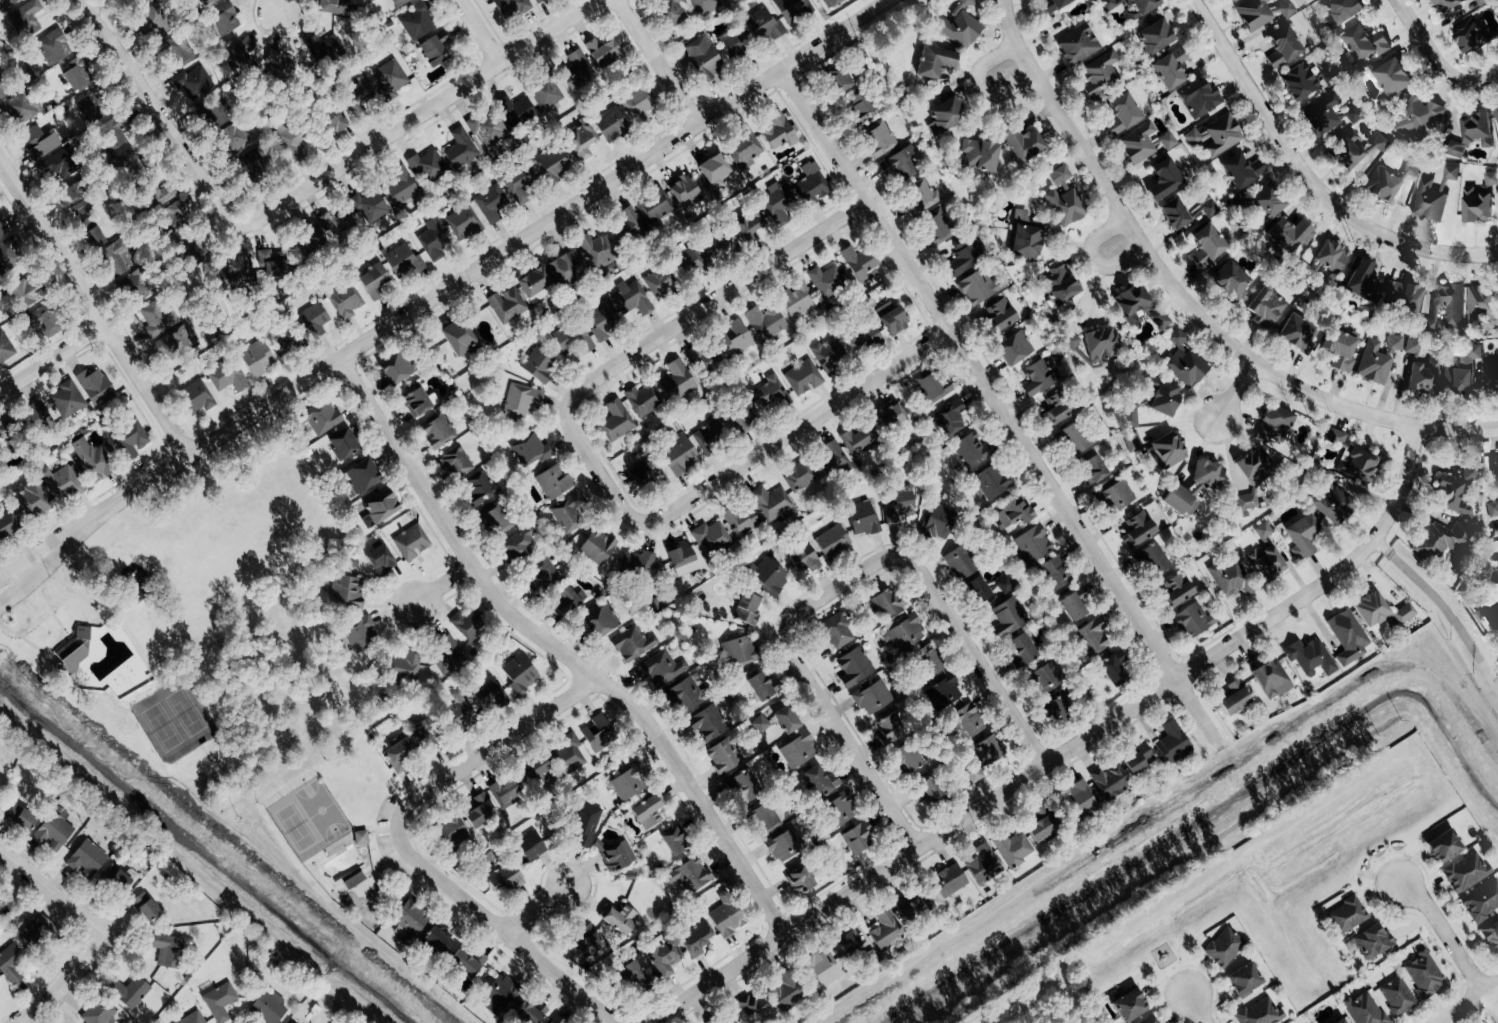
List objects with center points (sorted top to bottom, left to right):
building: (536, 0)
building: (205, 1)
building: (1232, 1)
building: (399, 2)
building: (7, 3)
road: (275, 3)
building: (832, 3)
building: (964, 4)
building: (1052, 5)
building: (705, 6)
building: (1447, 6)
building: (509, 7)
building: (1135, 7)
building: (794, 8)
building: (1282, 12)
building: (1343, 12)
building: (672, 13)
building: (1254, 14)
building: (150, 18)
building: (223, 18)
building: (26, 21)
building: (418, 21)
building: (763, 27)
building: (959, 29)
road: (479, 31)
road: (835, 34)
building: (1154, 37)
building: (1365, 43)
road: (1422, 44)
building: (733, 45)
building: (1078, 45)
building: (52, 47)
building: (433, 48)
building: (1283, 48)
building: (324, 49)
building: (176, 51)
building: (603, 54)
building: (703, 57)
building: (239, 58)
road: (657, 61)
building: (934, 62)
building: (278, 67)
building: (1170, 70)
building: (577, 71)
building: (1100, 75)
building: (391, 77)
building: (72, 78)
building: (1393, 78)
road: (1478, 80)
building: (193, 82)
building: (842, 82)
building: (1300, 82)
building: (0, 83)
road: (978, 84)
building: (545, 94)
building: (357, 95)
building: (1201, 99)
building: (638, 105)
building: (21, 107)
building: (861, 107)
building: (90, 109)
road: (155, 109)
building: (518, 111)
building: (210, 113)
building: (1122, 114)
building: (1496, 114)
building: (944, 116)
building: (1328, 116)
road: (413, 117)
building: (1419, 117)
building: (332, 119)
building: (611, 125)
building: (487, 129)
building: (1477, 129)
building: (116, 131)
building: (777, 132)
building: (1223, 135)
building: (1193, 137)
building: (879, 138)
building: (1166, 141)
building: (234, 142)
building: (581, 142)
building: (1380, 142)
building: (37, 143)
building: (1023, 144)
building: (1138, 144)
building: (293, 145)
building: (460, 149)
building: (1455, 149)
building: (745, 150)
building: (1345, 154)
building: (980, 155)
building: (901, 163)
building: (552, 164)
building: (249, 165)
building: (60, 166)
building: (427, 166)
building: (1412, 168)
building: (713, 170)
building: (1241, 170)
road: (1309, 176)
building: (1060, 178)
building: (520, 179)
building: (1164, 180)
building: (811, 184)
building: (401, 186)
building: (1382, 186)
building: (685, 193)
building: (923, 196)
building: (1433, 196)
building: (777, 199)
building: (1479, 200)
building: (492, 203)
building: (1261, 204)
building: (654, 206)
building: (1066, 206)
building: (369, 207)
building: (1210, 208)
building: (76, 209)
building: (173, 211)
building: (1174, 214)
building: (335, 220)
building: (463, 222)
building: (629, 225)
building: (749, 225)
building: (3, 228)
building: (937, 230)
building: (1287, 235)
building: (92, 237)
building: (312, 237)
building: (1025, 237)
building: (432, 240)
building: (194, 244)
building: (721, 244)
building: (1207, 246)
building: (597, 250)
building: (8, 254)
building: (965, 256)
building: (118, 257)
building: (1331, 257)
road: (1092, 259)
building: (402, 260)
building: (274, 261)
building: (694, 262)
building: (859, 264)
building: (567, 267)
building: (240, 269)
building: (371, 280)
building: (660, 281)
building: (826, 281)
building: (1230, 281)
building: (1362, 282)
building: (534, 283)
building: (1058, 286)
building: (979, 287)
building: (27, 290)
building: (141, 290)
building: (1402, 296)
building: (632, 299)
building: (795, 299)
road: (1183, 299)
building: (345, 300)
building: (1450, 304)
building: (1132, 305)
building: (508, 307)
building: (1265, 307)
building: (1483, 307)
road: (93, 309)
building: (999, 316)
building: (313, 318)
road: (398, 318)
building: (601, 318)
building: (157, 319)
building: (890, 319)
building: (1159, 319)
building: (34, 322)
building: (765, 322)
building: (1296, 331)
building: (456, 335)
building: (734, 338)
building: (283, 340)
road: (653, 340)
building: (863, 340)
building: (175, 341)
building: (1073, 341)
building: (1101, 344)
building: (1395, 344)
building: (5, 347)
building: (1413, 347)
building: (1339, 348)
building: (1014, 349)
building: (828, 354)
road: (51, 356)
building: (251, 356)
building: (703, 359)
building: (1184, 361)
building: (538, 363)
building: (1374, 363)
building: (393, 368)
building: (1463, 372)
building: (227, 376)
building: (1423, 376)
building: (803, 377)
building: (1040, 377)
building: (676, 379)
building: (1491, 380)
building: (95, 387)
building: (929, 387)
road: (1235, 390)
building: (773, 391)
building: (1163, 396)
building: (195, 397)
building: (68, 399)
building: (642, 399)
building: (521, 400)
building: (415, 401)
road: (999, 408)
building: (1055, 409)
building: (741, 414)
building: (37, 416)
building: (320, 416)
building: (892, 416)
building: (1131, 416)
building: (616, 420)
building: (949, 421)
building: (1273, 424)
road: (793, 430)
building: (438, 431)
building: (709, 433)
building: (1077, 437)
building: (132, 438)
building: (1132, 440)
building: (857, 442)
building: (342, 443)
building: (969, 448)
building: (1168, 449)
building: (531, 451)
building: (680, 456)
building: (835, 456)
building: (1352, 457)
building: (92, 459)
building: (456, 462)
building: (1493, 463)
building: (1093, 468)
building: (1470, 472)
building: (648, 473)
building: (360, 475)
building: (799, 475)
building: (1252, 477)
building: (553, 481)
building: (992, 481)
building: (62, 482)
building: (1194, 486)
building: (482, 489)
building: (1118, 494)
building: (1451, 497)
building: (29, 498)
building: (773, 503)
building: (1331, 503)
building: (897, 504)
building: (378, 507)
building: (1493, 508)
building: (1014, 510)
building: (571, 512)
building: (862, 518)
building: (495, 519)
building: (740, 520)
building: (940, 520)
building: (7, 523)
building: (1138, 529)
building: (1263, 530)
building: (1302, 534)
building: (712, 535)
building: (833, 541)
building: (410, 542)
building: (519, 542)
building: (597, 545)
building: (1033, 545)
building: (803, 558)
building: (379, 559)
building: (682, 559)
building: (1152, 559)
building: (638, 562)
building: (960, 562)
building: (1265, 563)
building: (1497, 568)
building: (542, 572)
building: (1055, 572)
road: (10, 576)
building: (769, 576)
building: (1230, 577)
road: (442, 583)
building: (1006, 585)
building: (978, 588)
building: (1177, 589)
road: (12, 590)
building: (346, 591)
building: (568, 599)
road: (52, 601)
building: (886, 602)
building: (1073, 604)
road: (1443, 607)
building: (747, 608)
building: (1371, 609)
park: (1482, 610)
building: (1405, 612)
building: (1008, 617)
building: (600, 620)
building: (1194, 620)
park: (209, 622)
building: (466, 624)
building: (837, 631)
building: (359, 634)
building: (906, 634)
building: (1093, 635)
building: (1348, 636)
building: (632, 643)
building: (1022, 647)
building: (74, 648)
road: (557, 649)
building: (741, 650)
building: (446, 654)
road: (971, 654)
building: (1310, 656)
building: (930, 663)
building: (404, 665)
building: (854, 666)
building: (662, 668)
building: (1111, 670)
building: (519, 673)
building: (1272, 678)
road: (808, 685)
building: (762, 686)
road: (89, 689)
building: (943, 692)
building: (488, 693)
building: (686, 693)
building: (873, 697)
building: (1234, 697)
building: (1057, 710)
building: (458, 712)
building: (786, 719)
building: (967, 721)
building: (708, 723)
building: (761, 724)
building: (889, 728)
building: (422, 733)
road: (150, 734)
building: (598, 734)
building: (1172, 742)
road: (489, 748)
building: (798, 749)
building: (988, 749)
road: (1065, 751)
building: (570, 752)
building: (397, 755)
building: (724, 755)
building: (1138, 757)
building: (908, 758)
building: (536, 769)
building: (974, 774)
building: (820, 780)
building: (1109, 780)
building: (627, 782)
building: (741, 784)
building: (927, 789)
building: (506, 792)
building: (1079, 799)
building: (840, 808)
building: (646, 811)
building: (479, 812)
building: (19, 817)
building: (765, 819)
building: (586, 823)
building: (1041, 827)
building: (451, 829)
building: (53, 830)
park: (333, 830)
building: (857, 836)
building: (360, 837)
building: (673, 841)
building: (785, 844)
building: (529, 846)
building: (1444, 846)
building: (1012, 848)
building: (615, 854)
building: (86, 857)
building: (983, 863)
building: (1466, 872)
building: (690, 874)
building: (116, 876)
building: (501, 877)
building: (354, 880)
building: (799, 880)
building: (949, 880)
road: (50, 893)
building: (1482, 900)
building: (910, 905)
building: (144, 906)
road: (533, 907)
building: (1348, 914)
building: (409, 918)
building: (618, 918)
building: (723, 919)
road: (498, 929)
building: (886, 930)
building: (36, 931)
building: (1491, 934)
building: (437, 938)
building: (695, 938)
building: (1373, 941)
road: (1452, 944)
building: (854, 945)
building: (1224, 947)
building: (165, 949)
building: (664, 953)
building: (12, 962)
building: (466, 963)
building: (823, 968)
building: (632, 971)
building: (1425, 975)
building: (1243, 979)
road: (63, 982)
building: (784, 989)
building: (130, 992)
building: (499, 993)
building: (1398, 996)
building: (219, 1001)
road: (1466, 1002)
building: (1129, 1005)
building: (268, 1007)
building: (751, 1007)
road: (1196, 1008)
building: (1365, 1009)
building: (530, 1011)
building: (99, 1012)
building: (1260, 1012)
building: (193, 1018)
building: (726, 1019)
building: (556, 1020)
building: (1150, 1020)
road: (973, 1021)
building: (1341, 1021)

